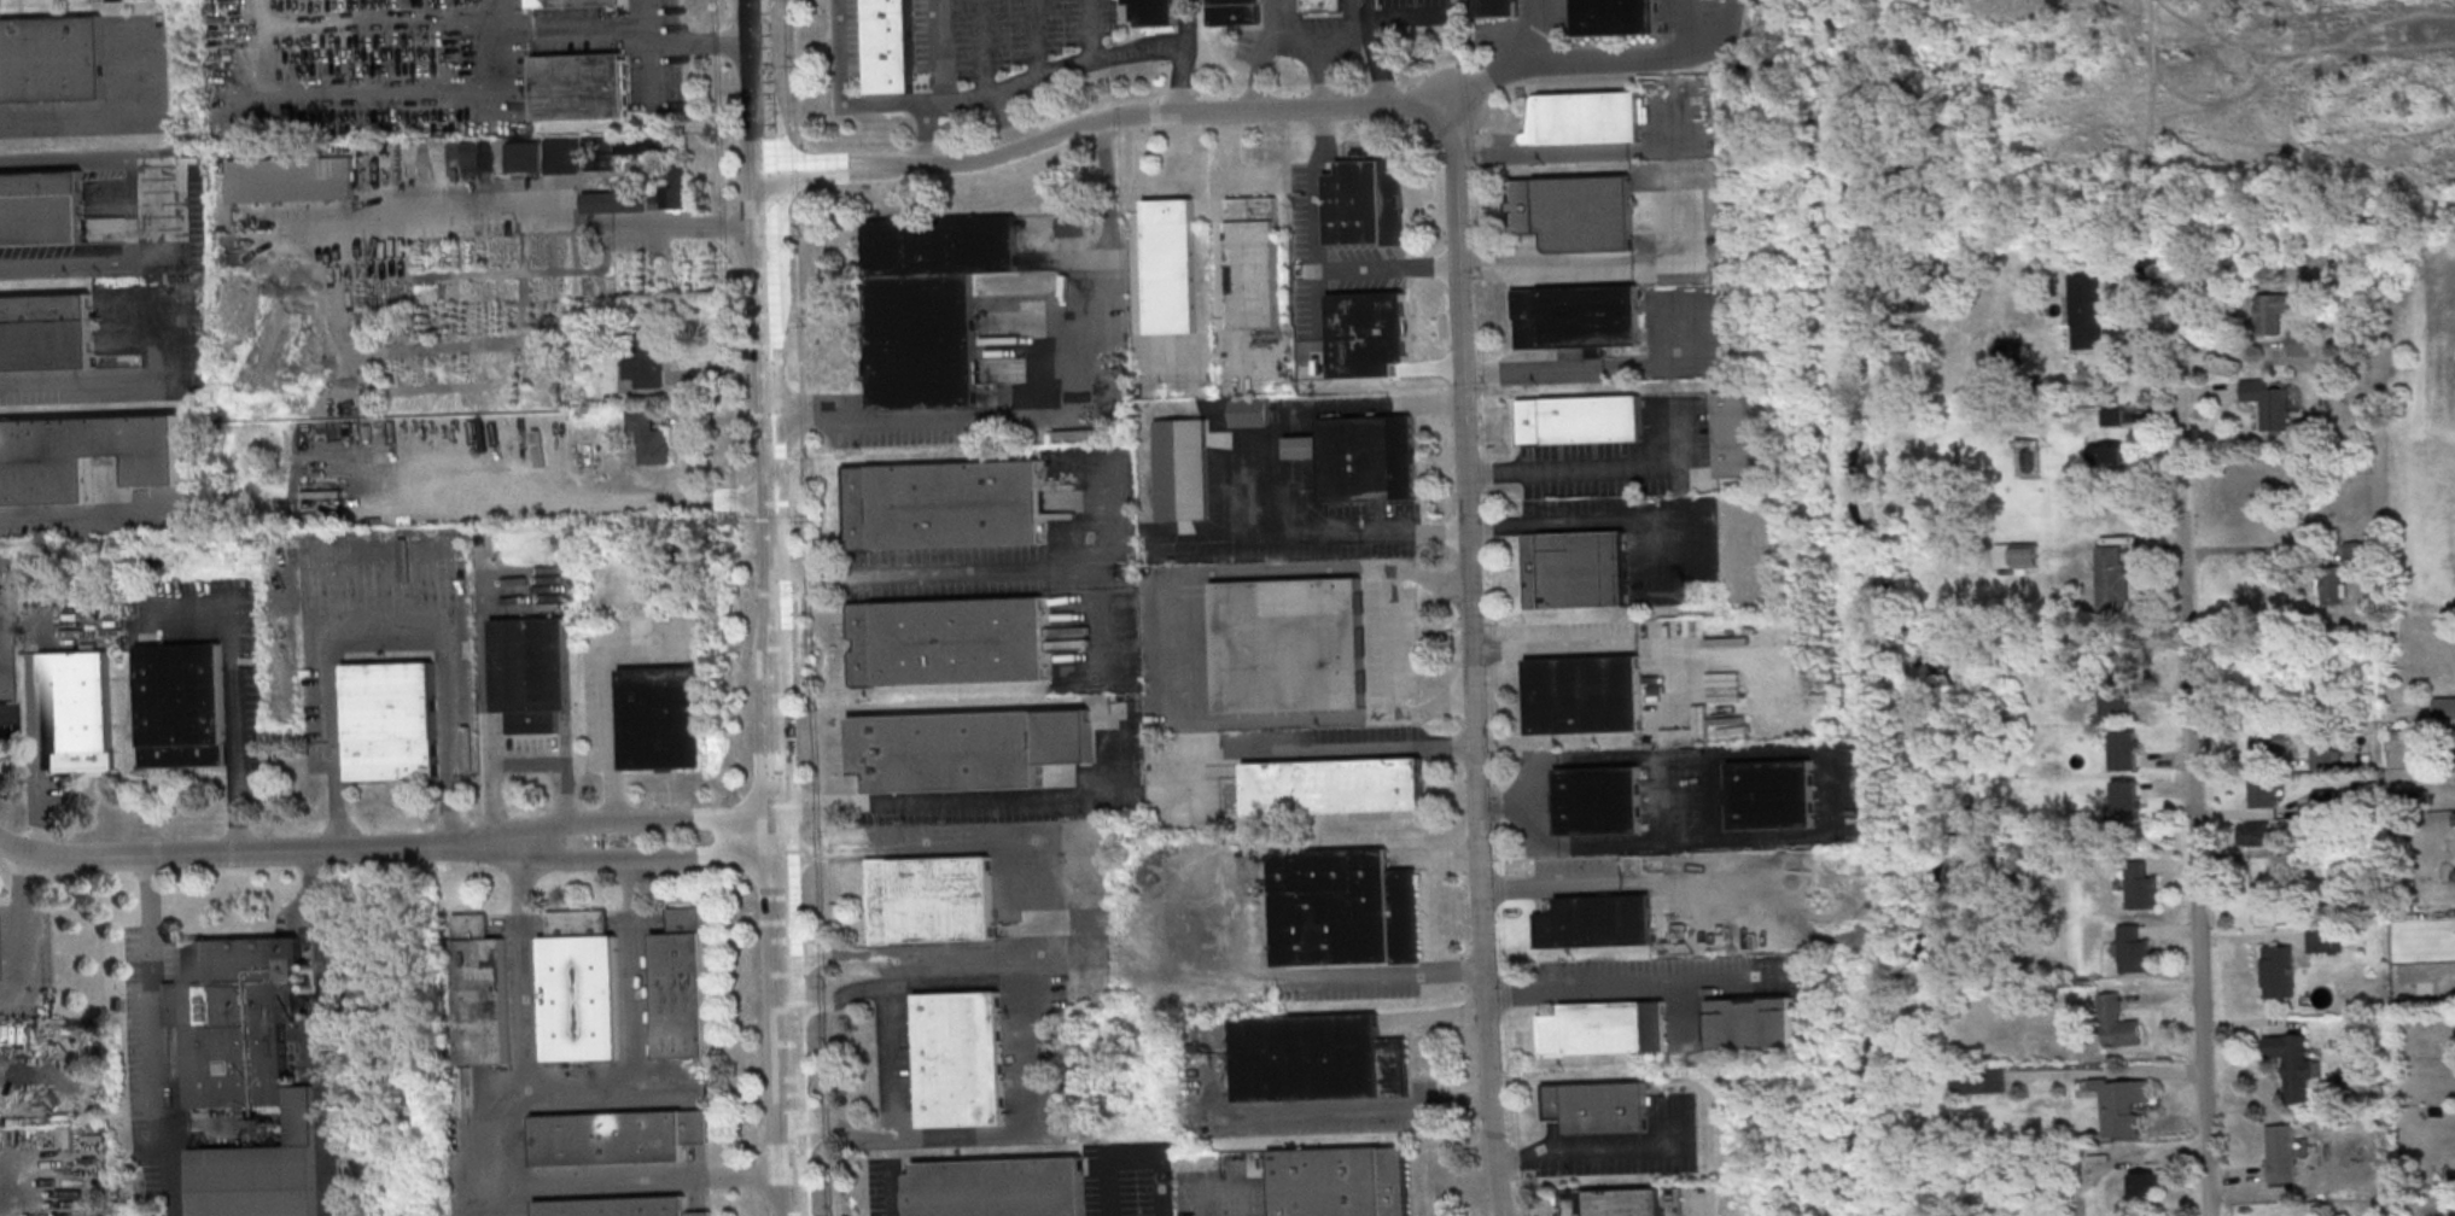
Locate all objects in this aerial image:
building: (572, 2)
building: (1320, 5)
building: (1495, 7)
building: (1232, 11)
building: (1154, 12)
building: (1616, 17)
road: (1543, 25)
road: (704, 45)
road: (1658, 45)
building: (890, 46)
road: (980, 46)
road: (657, 48)
road: (1377, 54)
building: (52, 59)
road: (1104, 62)
road: (1497, 70)
road: (1182, 77)
building: (581, 86)
parking lot: (109, 88)
road: (963, 95)
road: (890, 103)
road: (71, 112)
building: (1591, 118)
road: (1008, 119)
road: (925, 134)
road: (1048, 138)
building: (645, 151)
building: (564, 157)
building: (526, 158)
road: (1104, 166)
building: (292, 181)
building: (675, 192)
building: (630, 204)
building: (1365, 204)
building: (41, 206)
road: (567, 210)
building: (1574, 211)
road: (1662, 233)
road: (1318, 253)
building: (1253, 262)
building: (1171, 265)
road: (1541, 265)
road: (95, 268)
building: (1923, 298)
building: (927, 304)
building: (2086, 312)
building: (1576, 316)
building: (2269, 316)
building: (46, 332)
road: (764, 332)
building: (1368, 333)
building: (2299, 344)
building: (2011, 351)
building: (648, 357)
road: (1663, 368)
road: (1533, 373)
road: (84, 382)
road: (1060, 403)
building: (2270, 404)
road: (1304, 407)
building: (1248, 411)
building: (2111, 416)
building: (1580, 421)
road: (812, 423)
building: (1737, 433)
building: (651, 439)
building: (2111, 454)
building: (82, 456)
building: (1368, 460)
road: (1594, 467)
building: (1182, 469)
road: (799, 497)
building: (613, 502)
building: (943, 504)
road: (1592, 524)
road: (1323, 533)
building: (2357, 550)
building: (2017, 555)
road: (1101, 560)
building: (1574, 568)
road: (935, 572)
building: (2112, 580)
building: (2332, 585)
power tower: (1693, 594)
road: (1468, 598)
road: (731, 607)
road: (1393, 641)
building: (947, 642)
building: (1288, 644)
road: (1550, 645)
road: (1180, 648)
building: (1, 662)
building: (532, 674)
building: (1584, 694)
road: (234, 698)
road: (610, 698)
building: (2118, 698)
building: (181, 705)
building: (76, 709)
building: (2445, 709)
building: (664, 718)
building: (390, 721)
road: (770, 741)
building: (2276, 746)
building: (967, 748)
road: (1299, 750)
building: (2124, 753)
road: (2198, 755)
building: (2325, 759)
building: (1334, 785)
building: (2264, 794)
building: (1771, 795)
road: (974, 800)
building: (1598, 800)
building: (2124, 802)
road: (642, 819)
building: (2256, 834)
road: (256, 849)
road: (641, 855)
road: (1524, 885)
building: (2141, 889)
road: (1045, 896)
building: (931, 901)
building: (1342, 908)
building: (1596, 920)
road: (19, 930)
building: (2317, 940)
power tower: (1692, 952)
building: (2134, 953)
building: (2278, 974)
road: (1382, 975)
road: (1628, 984)
building: (582, 989)
building: (681, 989)
building: (482, 993)
road: (822, 1002)
road: (832, 1004)
road: (780, 1016)
building: (1751, 1022)
road: (636, 1023)
building: (2118, 1024)
road: (321, 1030)
building: (1604, 1030)
road: (154, 1035)
building: (1314, 1058)
building: (960, 1059)
road: (890, 1062)
road: (833, 1066)
building: (245, 1070)
building: (2297, 1070)
building: (1979, 1081)
road: (1045, 1101)
building: (2122, 1103)
road: (1360, 1109)
building: (1597, 1109)
road: (835, 1128)
building: (618, 1138)
road: (500, 1142)
building: (2281, 1146)
road: (1606, 1157)
road: (838, 1177)
building: (1337, 1181)
building: (2145, 1183)
building: (997, 1187)
road: (1196, 1198)
building: (1606, 1202)
building: (619, 1208)

